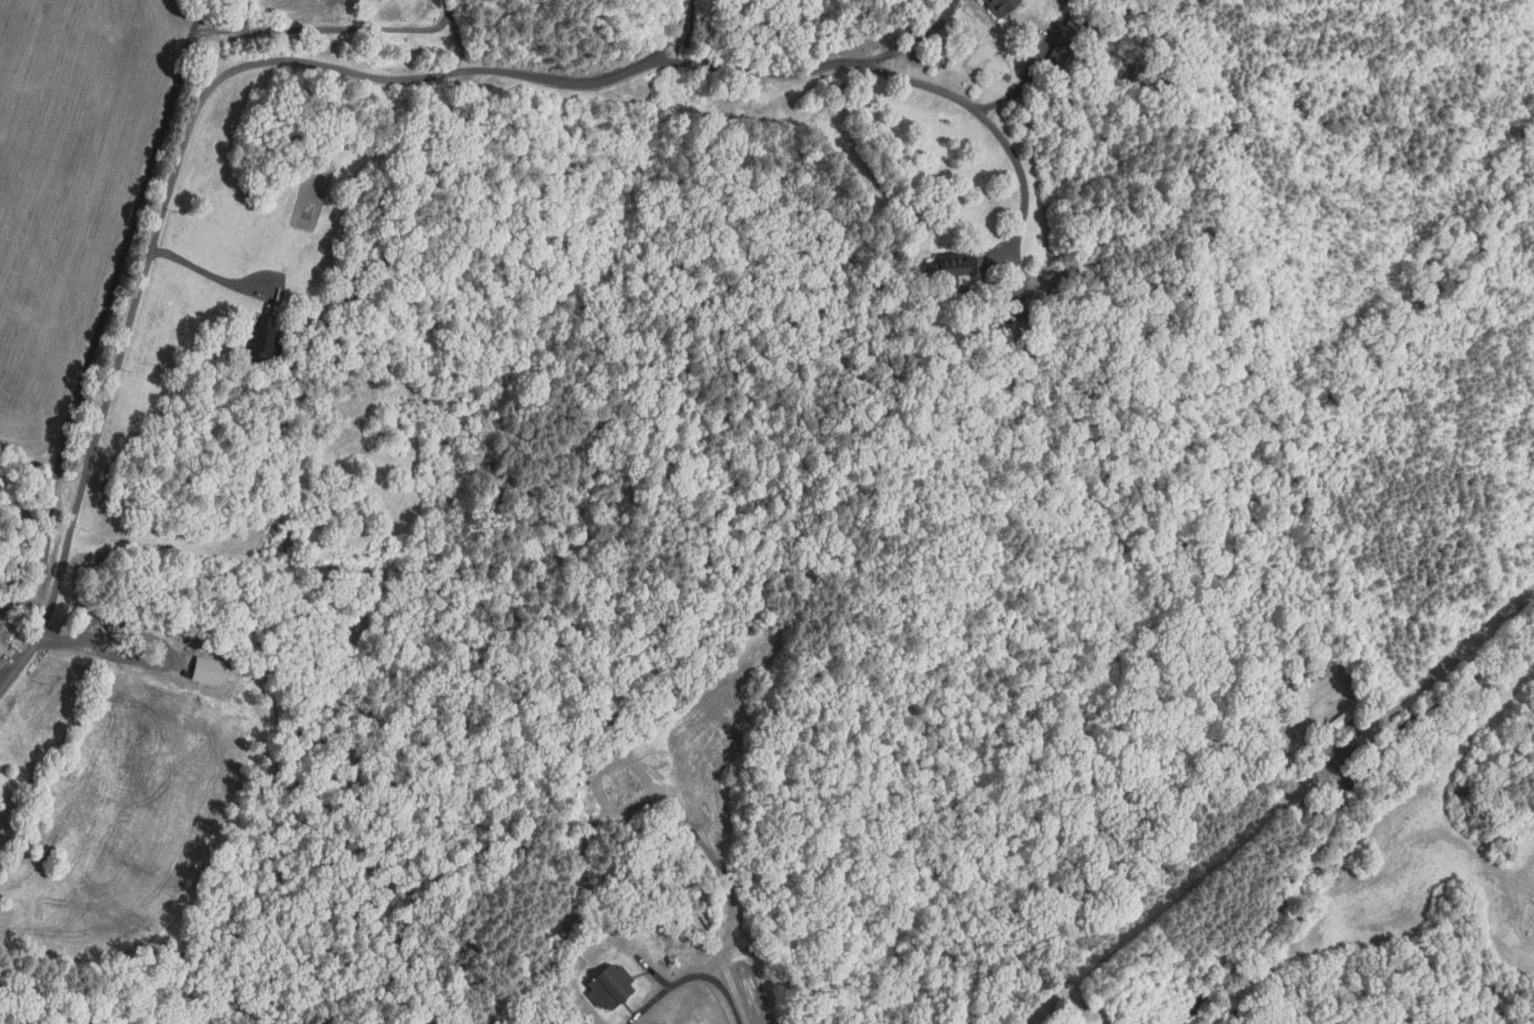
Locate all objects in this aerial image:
building: (1001, 6)
road: (194, 19)
road: (328, 28)
road: (671, 32)
road: (917, 38)
building: (1063, 53)
road: (384, 77)
road: (1024, 79)
road: (1024, 176)
building: (953, 265)
road: (210, 275)
building: (1002, 314)
road: (98, 331)
building: (259, 337)
road: (56, 599)
road: (165, 665)
building: (205, 669)
building: (1317, 672)
building: (1337, 720)
road: (1342, 798)

